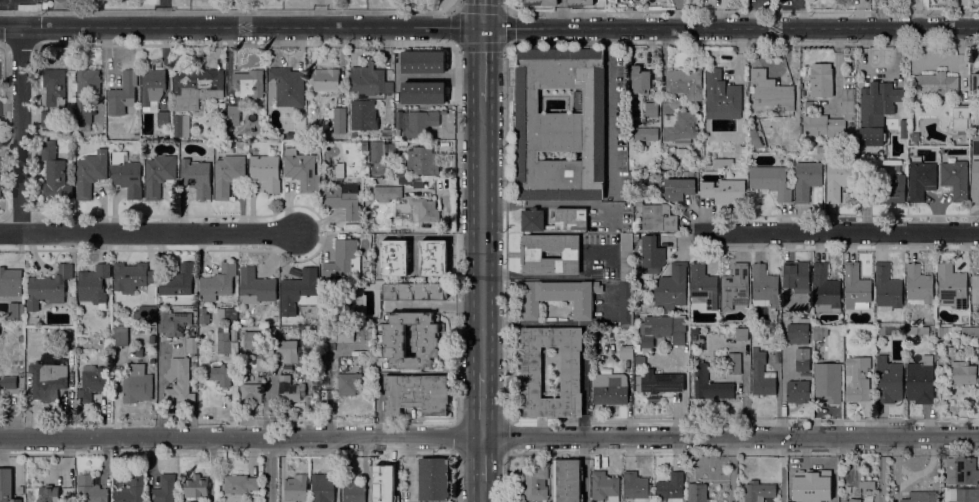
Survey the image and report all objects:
building: (540, 2)
building: (579, 2)
building: (44, 5)
road: (505, 6)
road: (232, 11)
road: (503, 11)
road: (482, 12)
road: (10, 26)
traffic signals: (482, 26)
road: (499, 26)
building: (422, 61)
road: (482, 63)
building: (325, 79)
building: (367, 79)
building: (641, 80)
building: (821, 80)
building: (685, 82)
building: (248, 83)
building: (937, 83)
building: (152, 85)
building: (975, 85)
building: (54, 86)
building: (195, 86)
building: (286, 86)
building: (769, 89)
building: (422, 92)
building: (123, 93)
building: (721, 93)
building: (804, 93)
building: (86, 95)
building: (810, 106)
building: (0, 109)
building: (651, 109)
building: (876, 110)
building: (364, 114)
building: (233, 115)
building: (47, 117)
building: (163, 118)
building: (960, 118)
building: (338, 119)
building: (830, 119)
building: (416, 122)
building: (560, 124)
building: (181, 126)
building: (680, 127)
road: (20, 129)
building: (903, 129)
building: (644, 133)
building: (789, 135)
building: (915, 136)
building: (753, 138)
building: (0, 141)
building: (364, 145)
building: (860, 156)
building: (378, 157)
building: (422, 160)
building: (720, 163)
building: (663, 165)
building: (53, 170)
building: (301, 170)
building: (265, 171)
building: (90, 172)
building: (126, 174)
building: (158, 174)
building: (228, 174)
building: (743, 174)
building: (838, 176)
building: (196, 177)
building: (807, 177)
building: (921, 178)
building: (955, 179)
building: (770, 181)
building: (975, 181)
building: (676, 188)
building: (883, 190)
building: (0, 191)
building: (723, 191)
building: (386, 193)
building: (342, 199)
building: (637, 200)
building: (425, 209)
building: (659, 217)
building: (570, 218)
building: (533, 220)
road: (838, 231)
road: (505, 232)
road: (149, 233)
road: (482, 236)
building: (636, 238)
building: (390, 240)
building: (531, 254)
building: (650, 254)
building: (393, 255)
building: (427, 255)
building: (626, 257)
building: (343, 260)
building: (295, 272)
building: (132, 276)
road: (548, 276)
building: (796, 276)
building: (10, 282)
building: (176, 282)
building: (218, 282)
building: (93, 283)
building: (918, 285)
building: (255, 286)
building: (703, 286)
building: (734, 286)
building: (764, 286)
building: (48, 287)
building: (672, 287)
building: (951, 287)
building: (856, 288)
building: (887, 288)
building: (825, 289)
building: (975, 289)
building: (299, 291)
building: (415, 291)
building: (559, 297)
building: (626, 302)
road: (433, 305)
building: (211, 311)
building: (227, 314)
building: (143, 316)
building: (203, 316)
building: (174, 322)
road: (560, 324)
building: (877, 328)
building: (663, 329)
building: (889, 329)
building: (694, 330)
building: (917, 330)
building: (970, 331)
building: (942, 332)
building: (819, 333)
building: (797, 334)
building: (120, 336)
building: (334, 336)
building: (66, 337)
building: (253, 339)
building: (393, 340)
building: (907, 340)
building: (224, 341)
building: (191, 343)
building: (636, 347)
building: (625, 349)
building: (285, 350)
building: (951, 351)
building: (978, 356)
building: (733, 362)
building: (802, 363)
building: (262, 364)
building: (193, 368)
building: (532, 371)
building: (962, 373)
building: (221, 374)
building: (762, 375)
building: (47, 378)
building: (857, 379)
building: (179, 381)
building: (888, 381)
building: (920, 381)
building: (8, 382)
building: (21, 382)
building: (92, 382)
building: (348, 382)
building: (661, 382)
building: (828, 382)
building: (136, 383)
building: (709, 384)
building: (610, 389)
building: (290, 390)
building: (250, 392)
building: (797, 392)
building: (416, 394)
road: (271, 398)
road: (481, 404)
road: (379, 407)
road: (232, 412)
road: (489, 437)
road: (481, 460)
road: (924, 468)
road: (269, 469)
road: (281, 469)
road: (337, 469)
road: (893, 469)
building: (962, 470)
road: (506, 478)
building: (433, 479)
road: (457, 479)
building: (567, 480)
building: (239, 483)
building: (534, 483)
building: (388, 484)
building: (868, 484)
building: (6, 486)
building: (196, 486)
building: (604, 486)
building: (636, 487)
building: (811, 487)
building: (295, 488)
building: (322, 488)
building: (671, 488)
building: (20, 489)
building: (163, 489)
building: (90, 490)
building: (131, 490)
building: (353, 491)
building: (758, 491)
road: (481, 492)
building: (697, 492)
building: (48, 494)
building: (963, 495)
building: (921, 496)
building: (853, 500)

